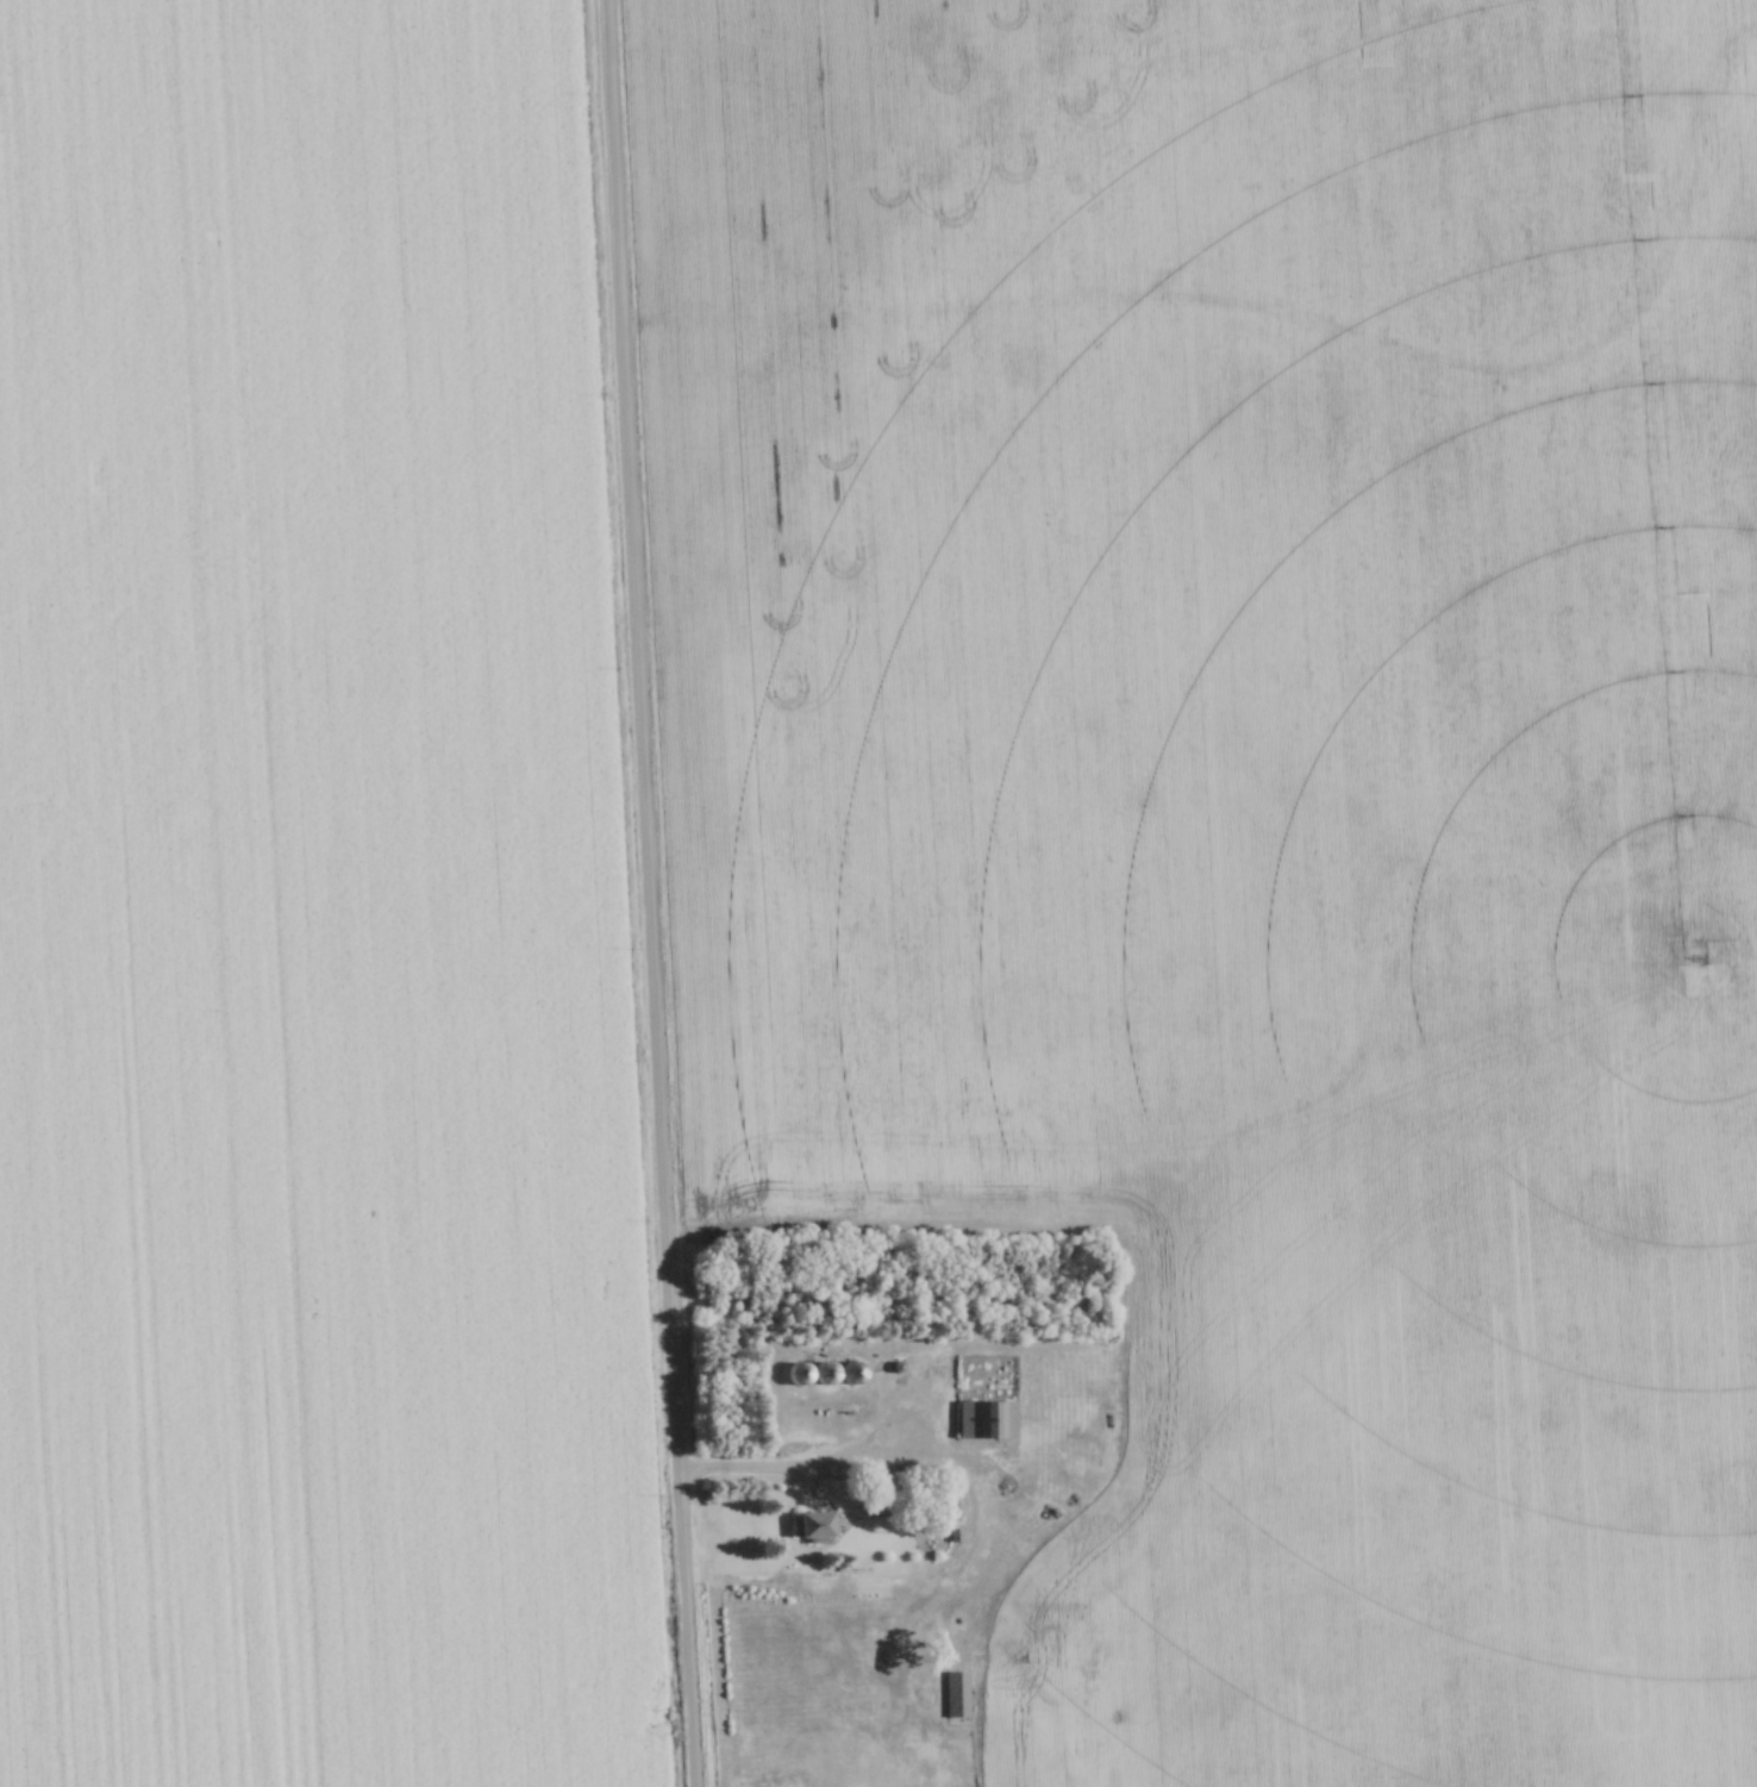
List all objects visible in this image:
road: (650, 893)
building: (798, 1374)
building: (825, 1374)
building: (851, 1374)
building: (984, 1422)
road: (767, 1467)
building: (811, 1527)
building: (956, 1695)

